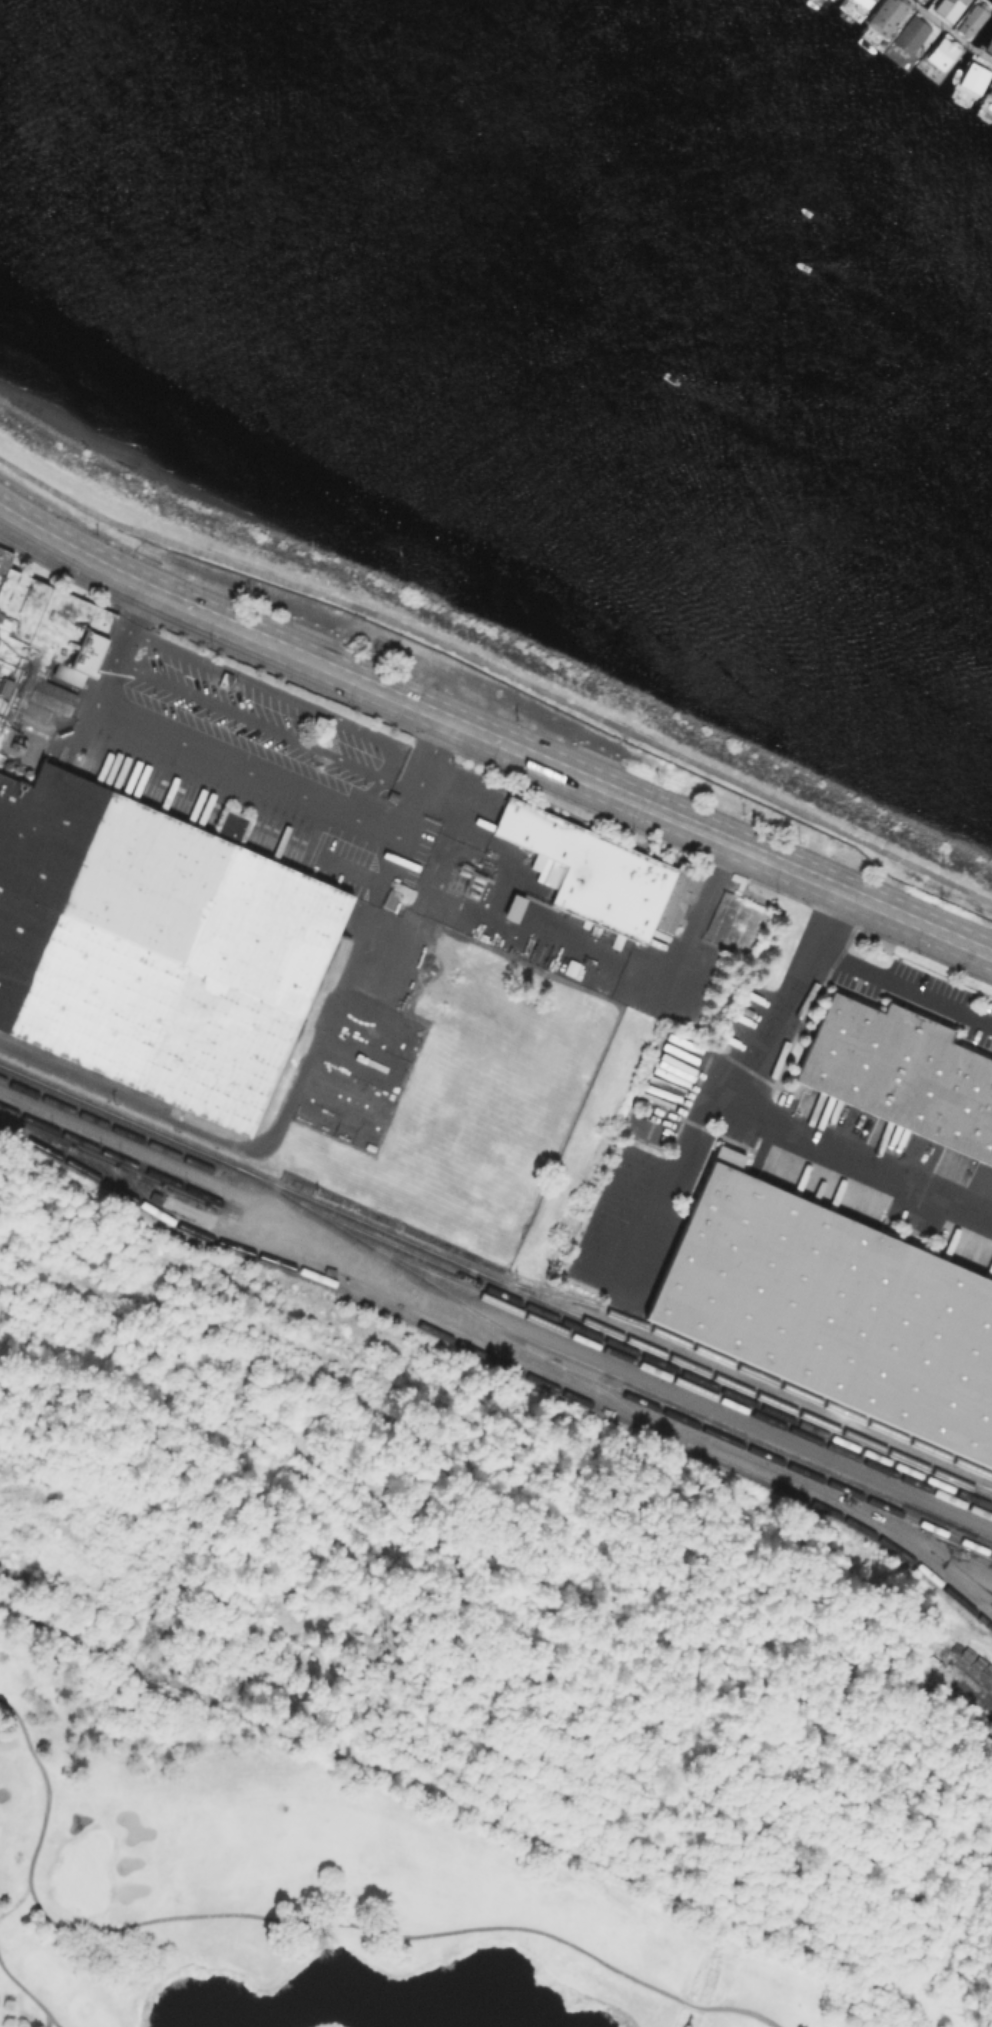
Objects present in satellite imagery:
building: (946, 8)
building: (884, 16)
building: (970, 19)
pier: (949, 31)
building: (913, 35)
building: (941, 51)
building: (972, 77)
building: (990, 91)
river: (607, 216)
building: (45, 640)
road: (499, 670)
road: (492, 739)
road: (187, 743)
road: (419, 776)
building: (596, 871)
building: (153, 945)
road: (672, 980)
road: (903, 986)
railway: (81, 1072)
building: (901, 1072)
road: (740, 1098)
railway: (107, 1124)
road: (281, 1125)
railway: (117, 1156)
road: (865, 1159)
railway: (495, 1280)
building: (832, 1305)
railway: (643, 1354)
railway: (503, 1362)
railway: (736, 1364)
railway: (674, 1377)
railway: (601, 1382)
railway: (614, 1400)
railway: (705, 1415)
railway: (963, 1479)
park: (327, 1885)
road: (304, 1919)
road: (31, 1994)

